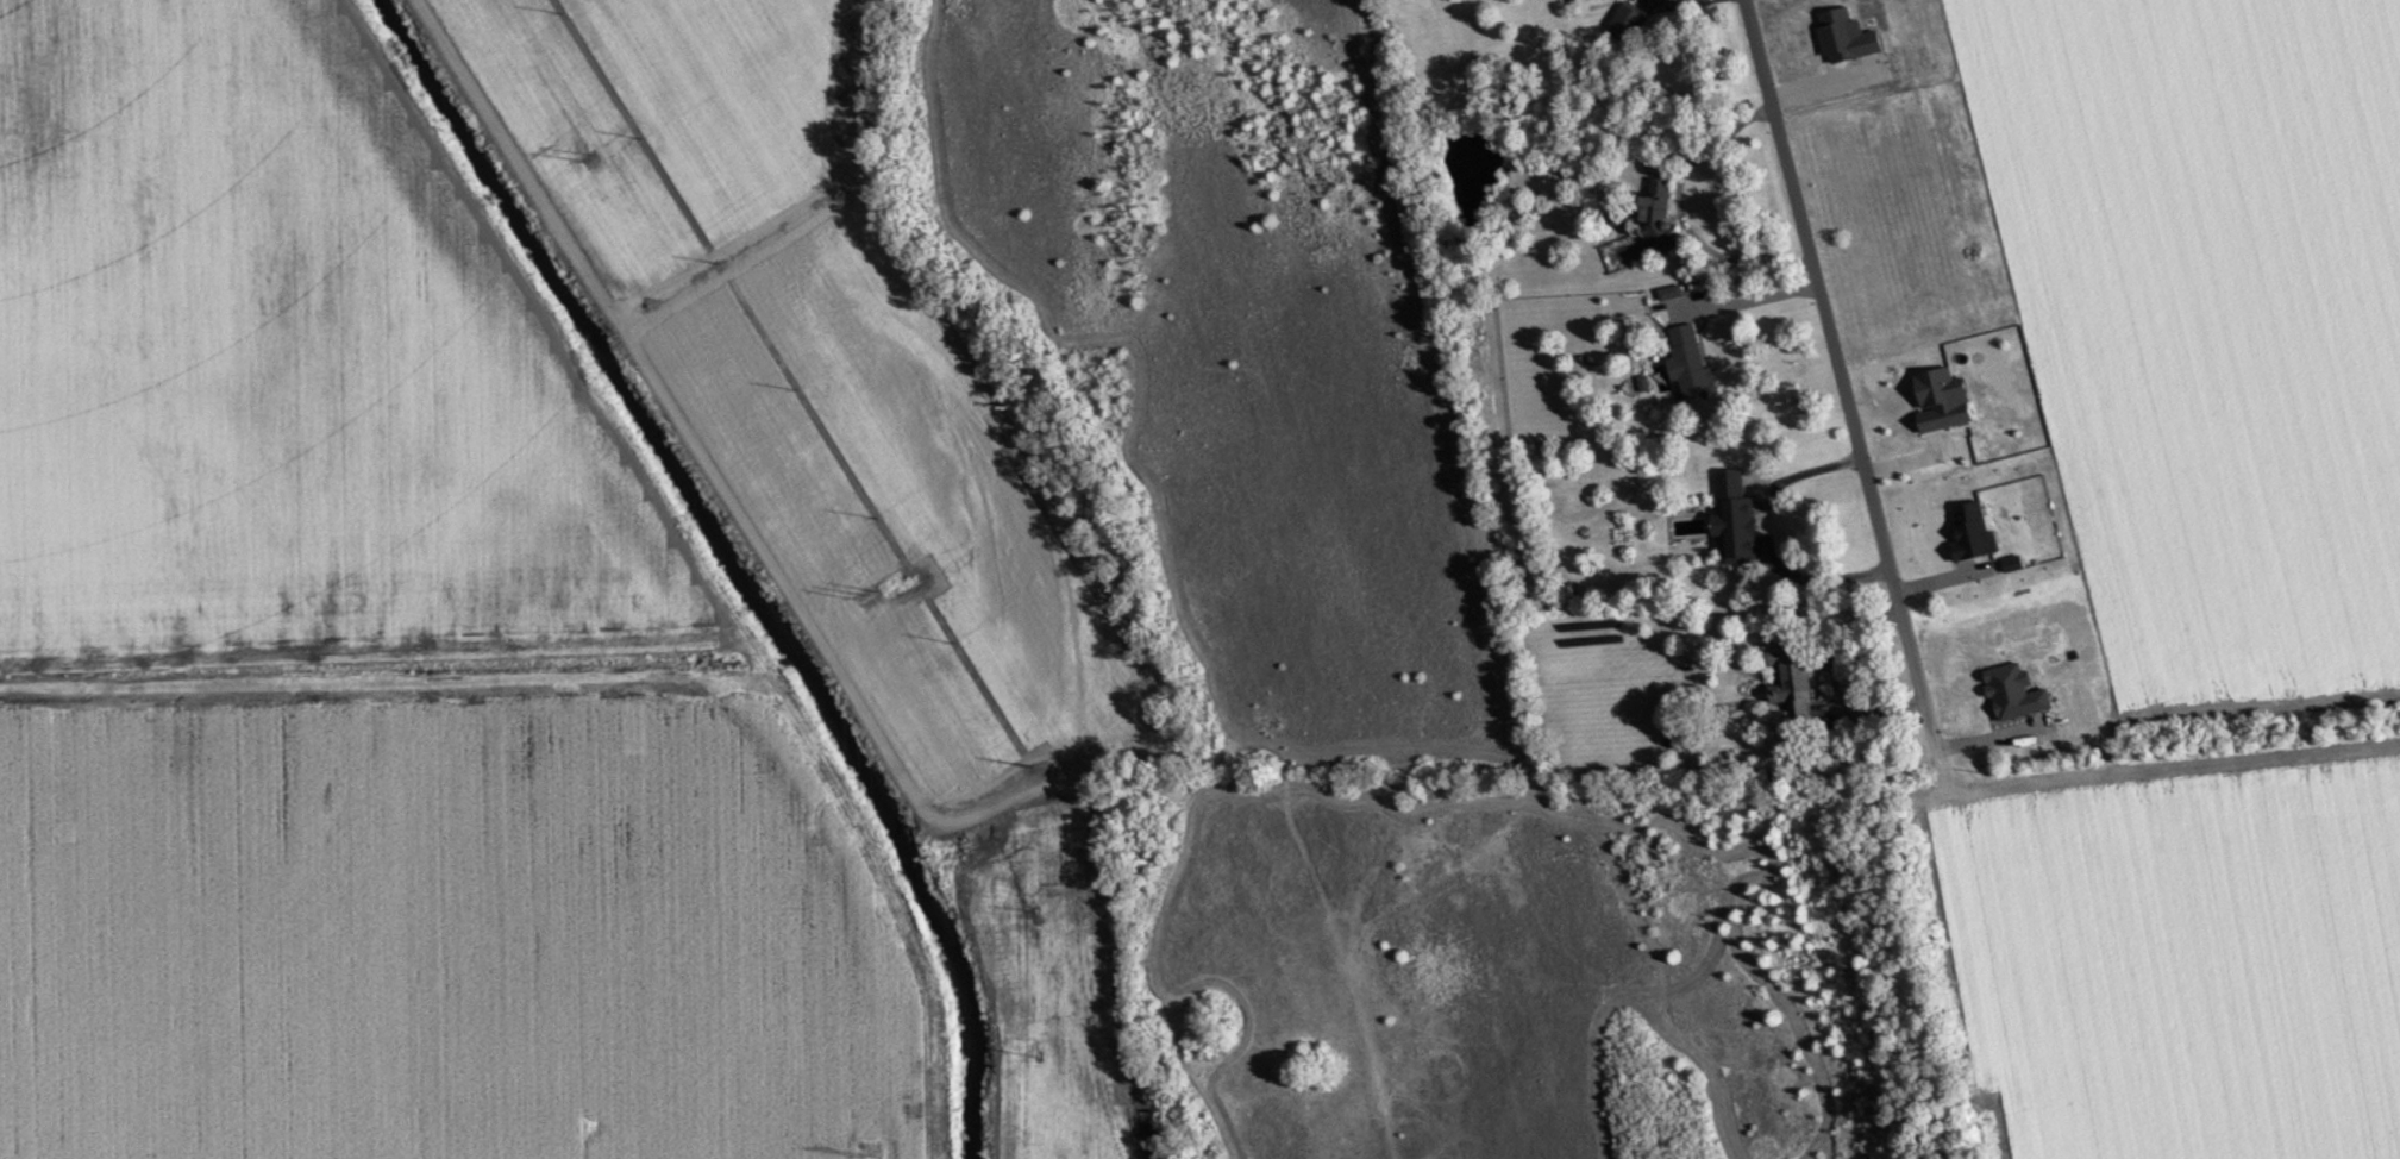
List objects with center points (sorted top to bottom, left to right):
building: (1627, 23)
building: (1847, 37)
building: (1671, 292)
building: (1690, 364)
road: (1843, 374)
building: (1942, 400)
building: (1734, 518)
building: (1972, 532)
building: (2013, 563)
power tower: (867, 596)
building: (1788, 675)
building: (2014, 693)

